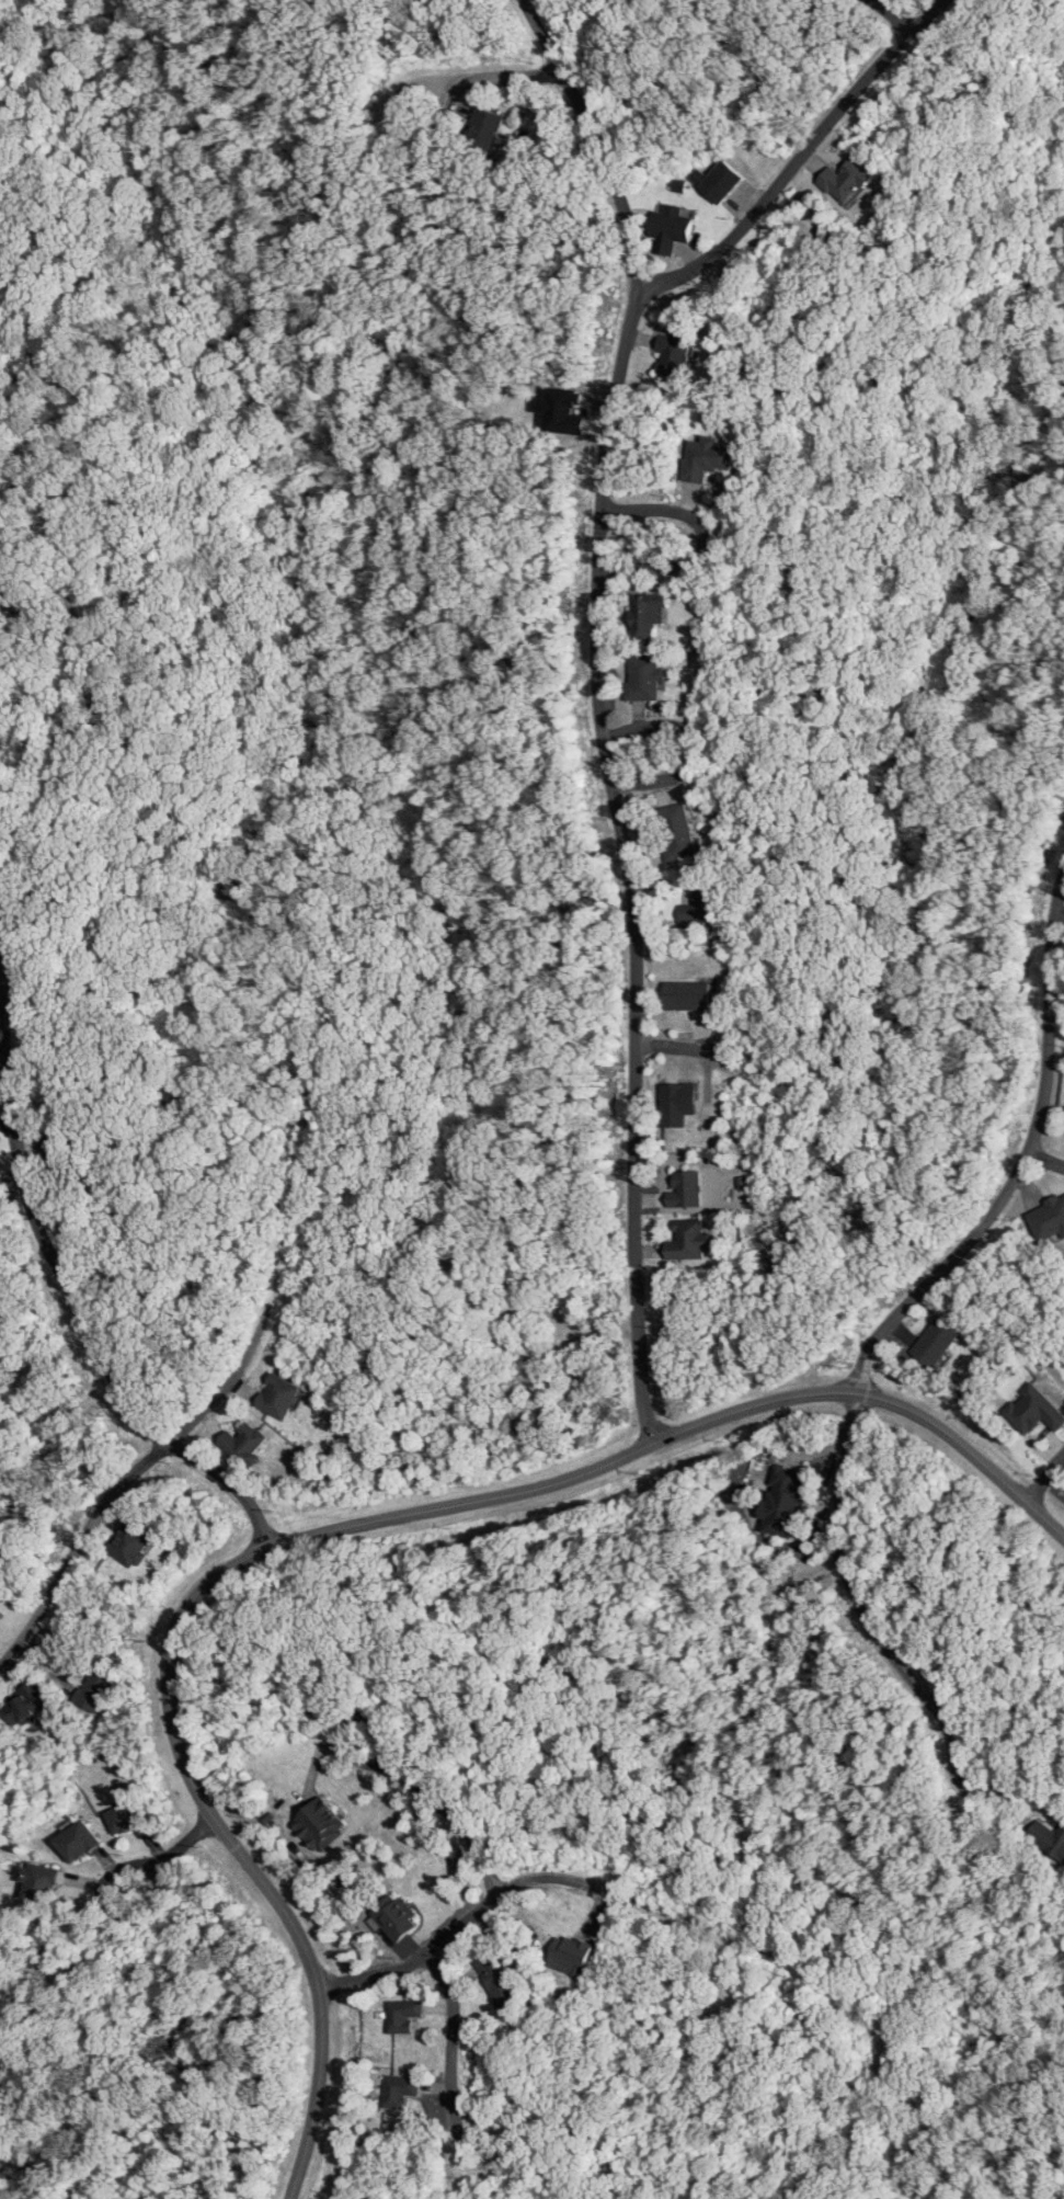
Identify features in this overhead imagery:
road: (893, 14)
road: (484, 79)
building: (484, 125)
road: (801, 158)
building: (719, 181)
building: (846, 181)
building: (671, 228)
building: (674, 354)
building: (561, 410)
building: (706, 458)
road: (706, 540)
building: (645, 613)
building: (643, 676)
road: (600, 710)
road: (64, 744)
road: (698, 747)
building: (677, 831)
building: (701, 905)
road: (1059, 915)
building: (687, 994)
road: (691, 1047)
building: (677, 1103)
road: (5, 1118)
road: (1045, 1162)
road: (1022, 1164)
building: (686, 1189)
building: (1048, 1218)
building: (688, 1240)
road: (67, 1278)
road: (274, 1285)
road: (587, 1332)
building: (935, 1342)
road: (72, 1388)
building: (277, 1395)
building: (1033, 1410)
building: (243, 1443)
road: (1045, 1478)
building: (783, 1501)
road: (327, 1533)
building: (130, 1545)
road: (77, 1548)
road: (859, 1598)
road: (774, 1618)
building: (92, 1690)
building: (26, 1704)
road: (443, 1805)
building: (127, 1815)
building: (320, 1824)
building: (1049, 1836)
building: (77, 1841)
road: (173, 1855)
building: (39, 1881)
building: (396, 1916)
road: (701, 1925)
building: (570, 1955)
building: (496, 1976)
road: (727, 1984)
building: (403, 2015)
road: (454, 2049)
building: (399, 2089)
road: (1032, 2196)

